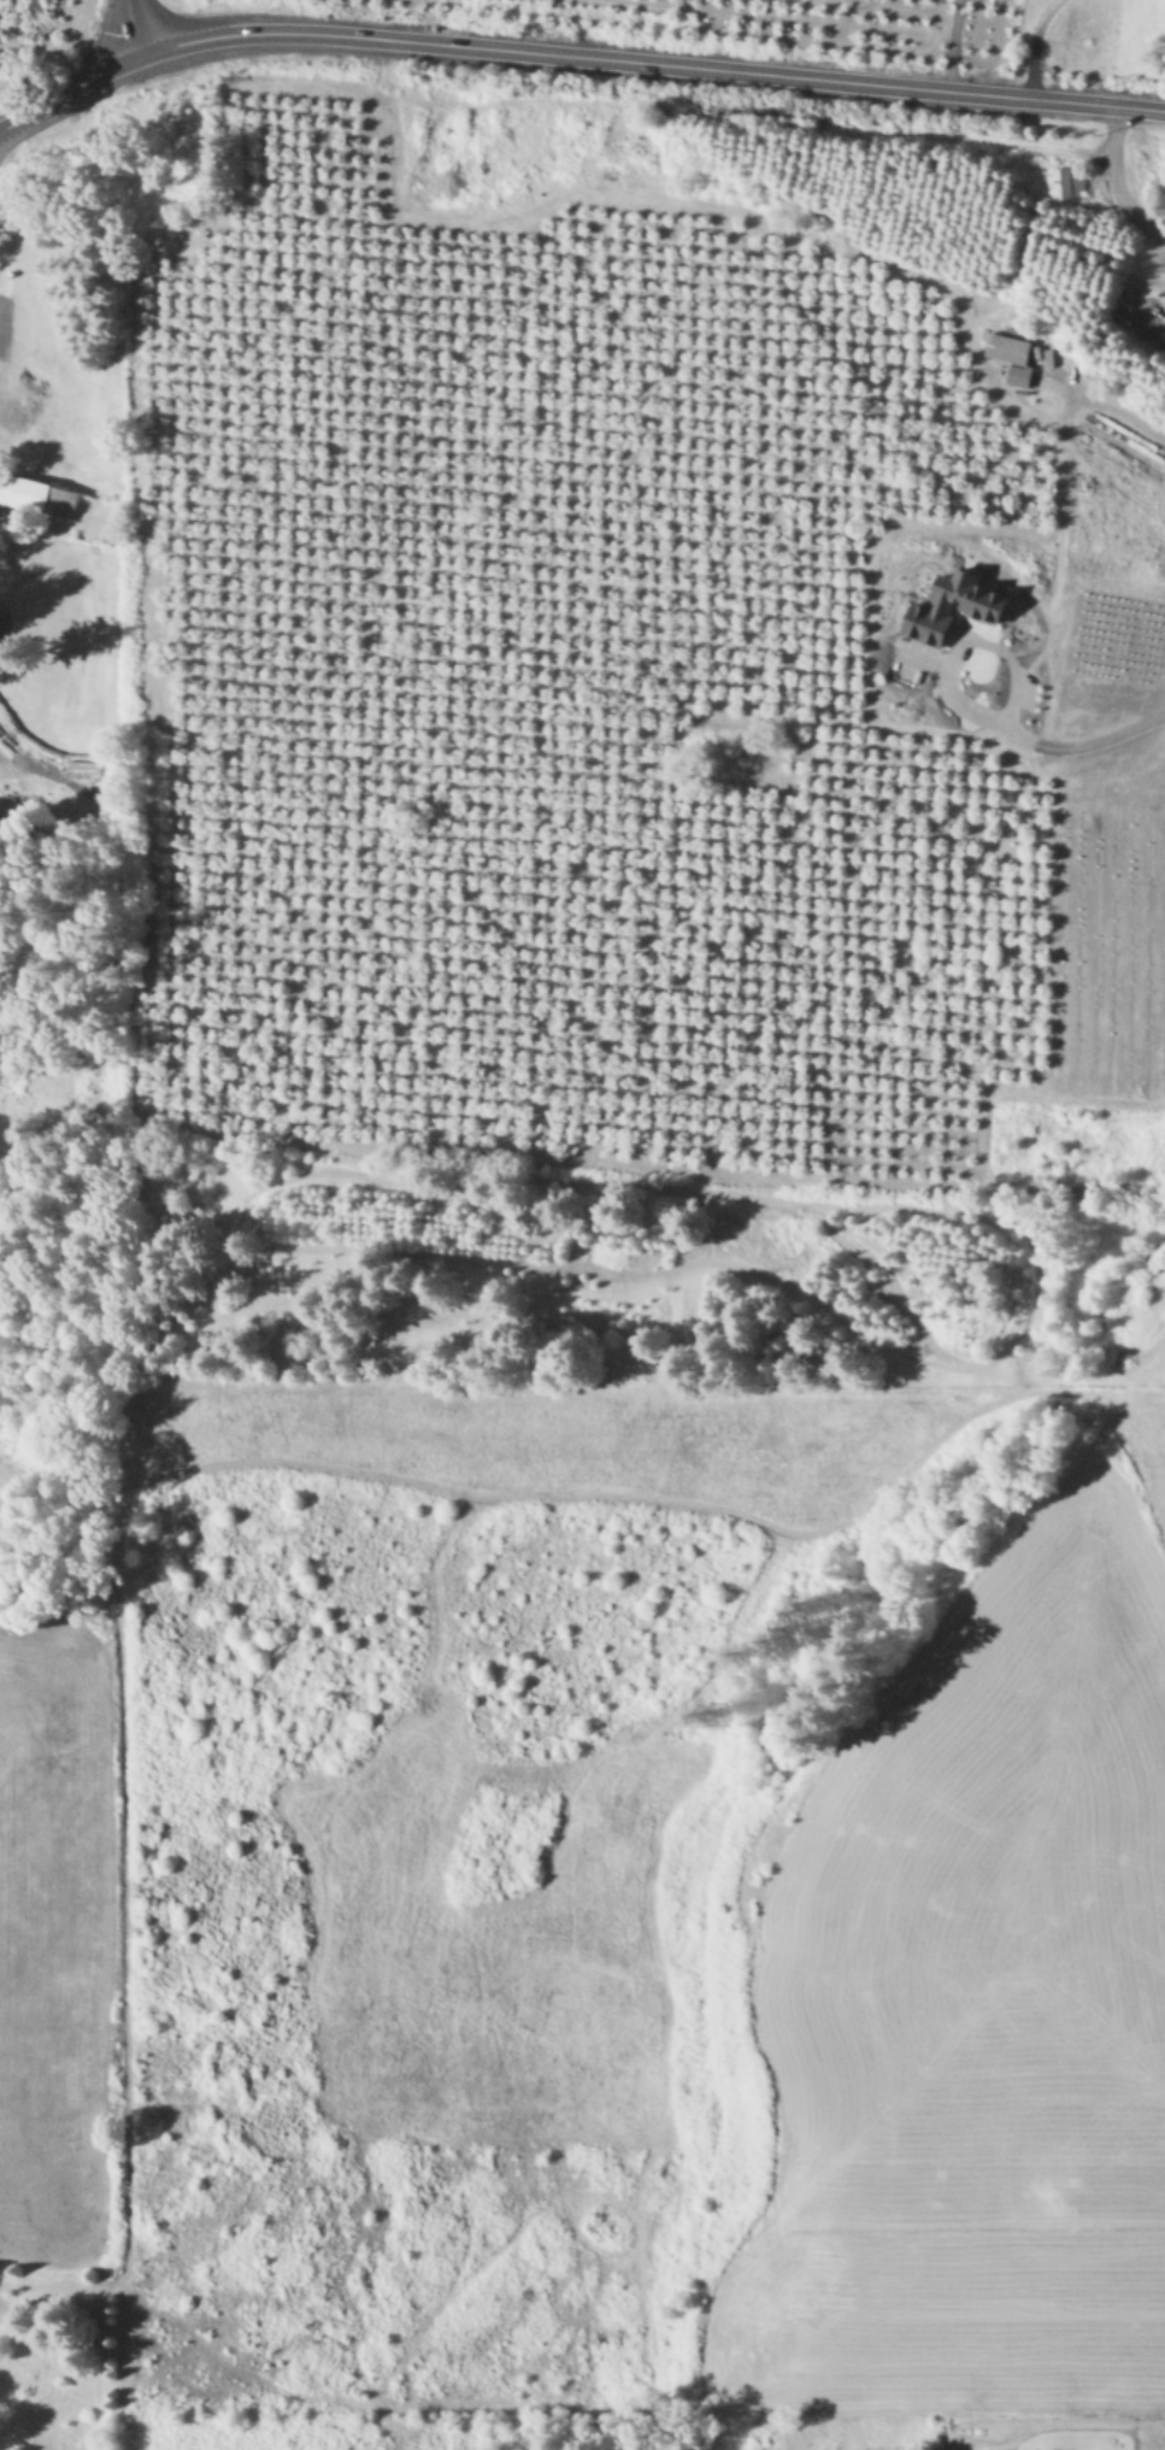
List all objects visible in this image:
road: (130, 27)
crop: (1136, 40)
road: (1026, 43)
road: (943, 45)
road: (649, 63)
road: (66, 89)
building: (1067, 182)
road: (1111, 188)
building: (1013, 356)
road: (1117, 410)
building: (37, 494)
building: (958, 604)
road: (965, 641)
road: (1085, 750)
road: (871, 1504)
crop: (594, 1893)

